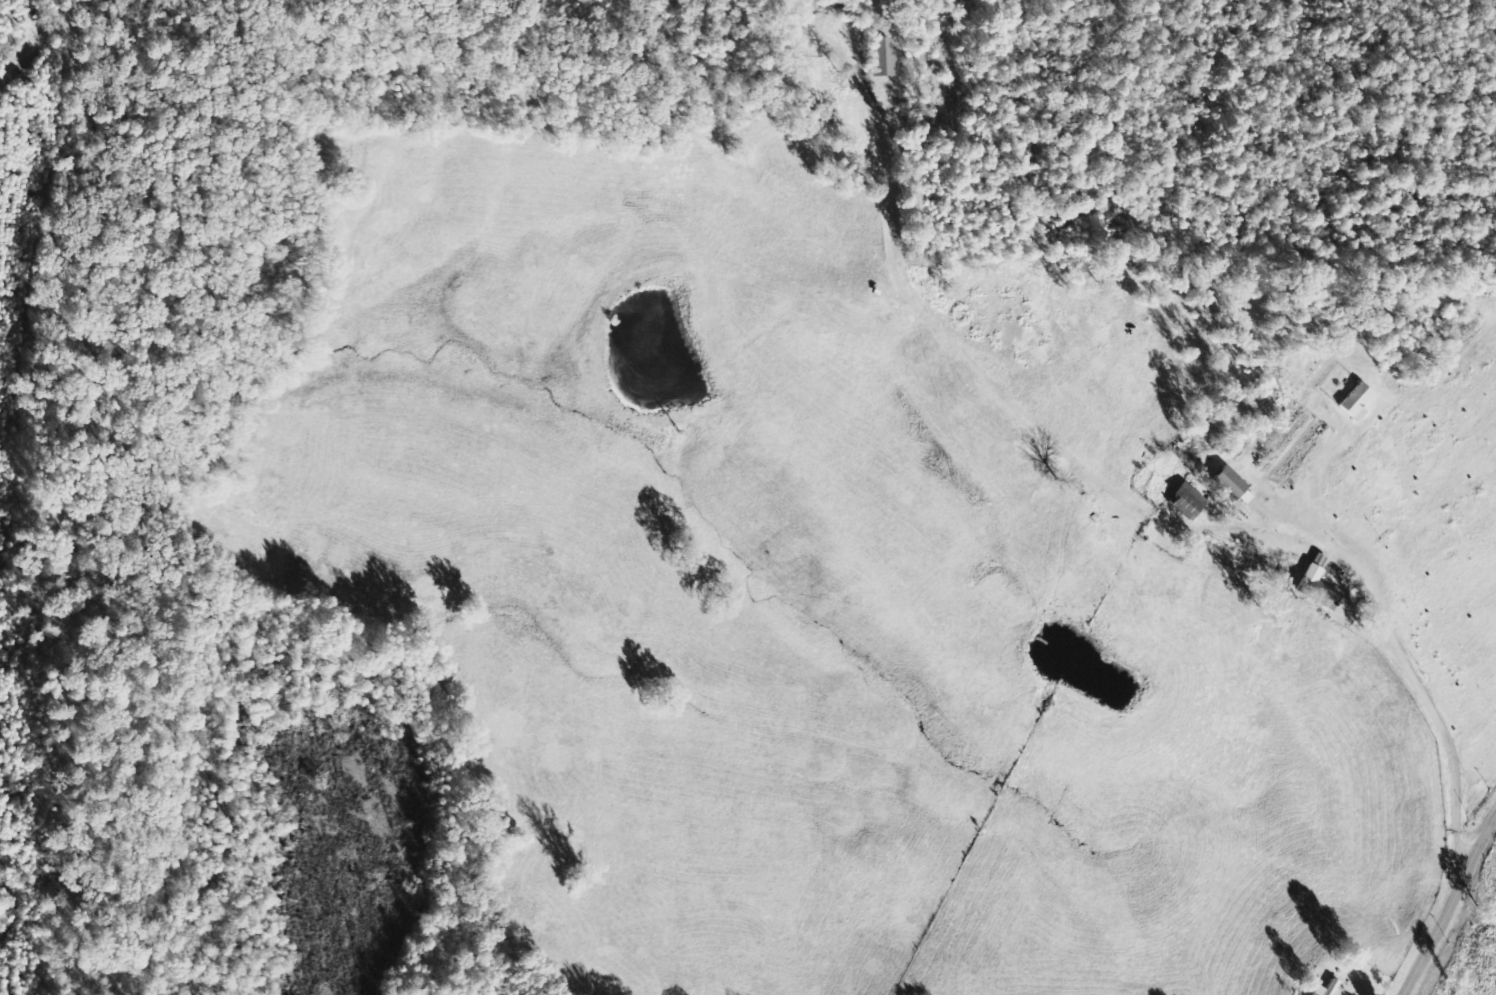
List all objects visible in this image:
road: (1408, 578)
road: (1489, 983)

